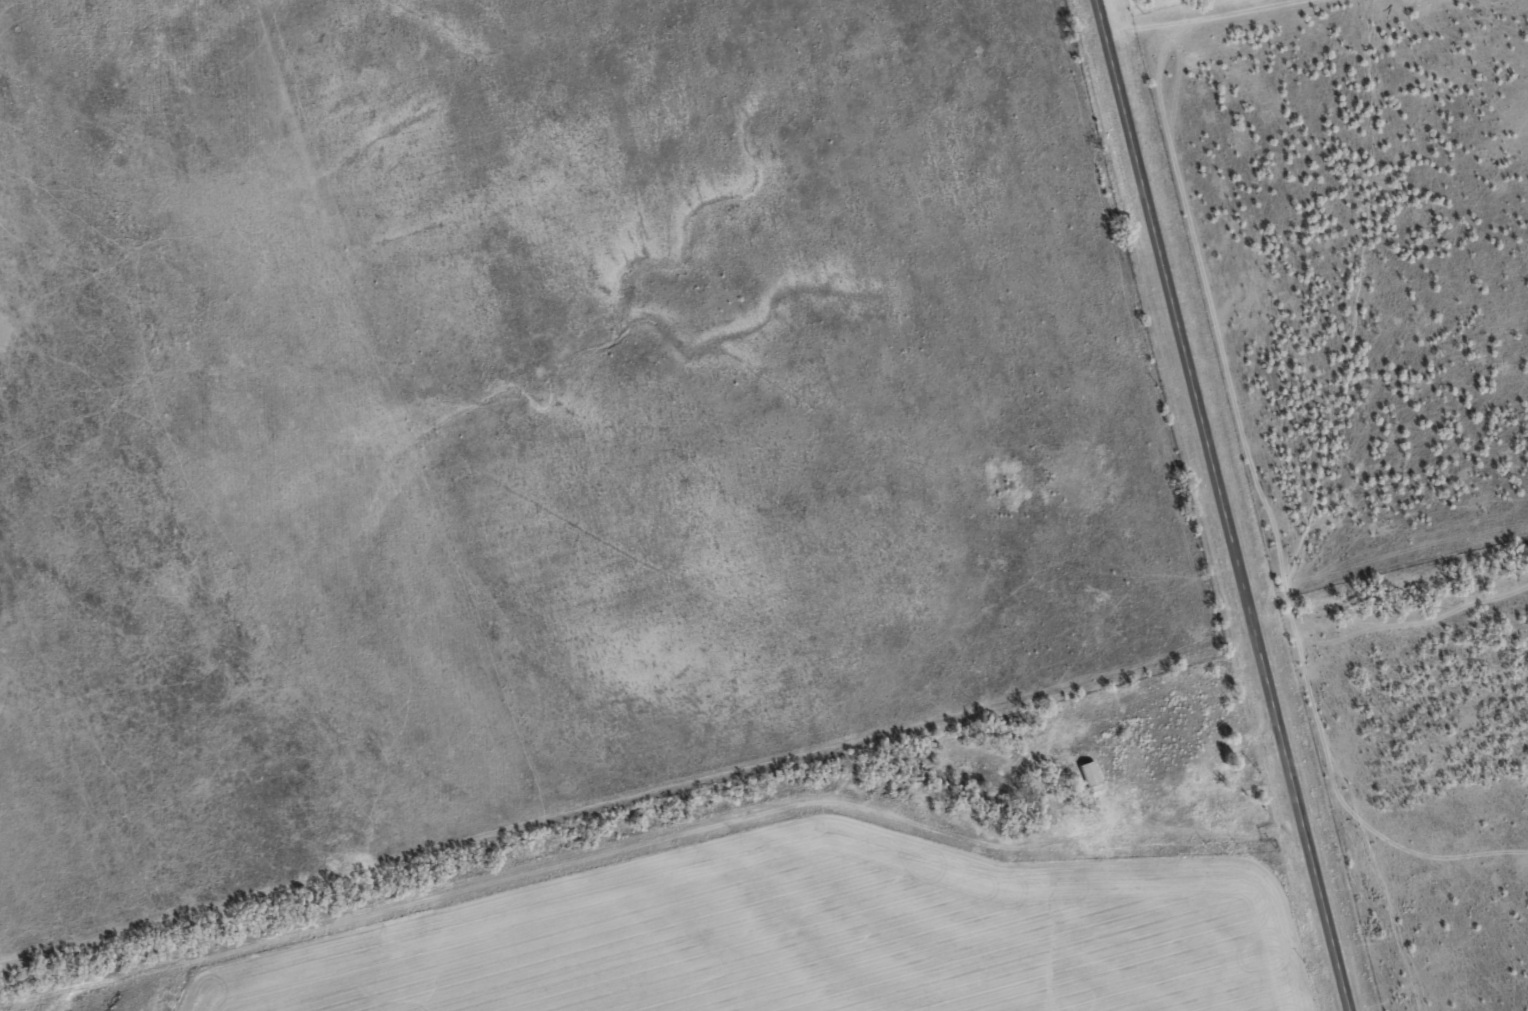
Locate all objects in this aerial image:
road: (1220, 505)

